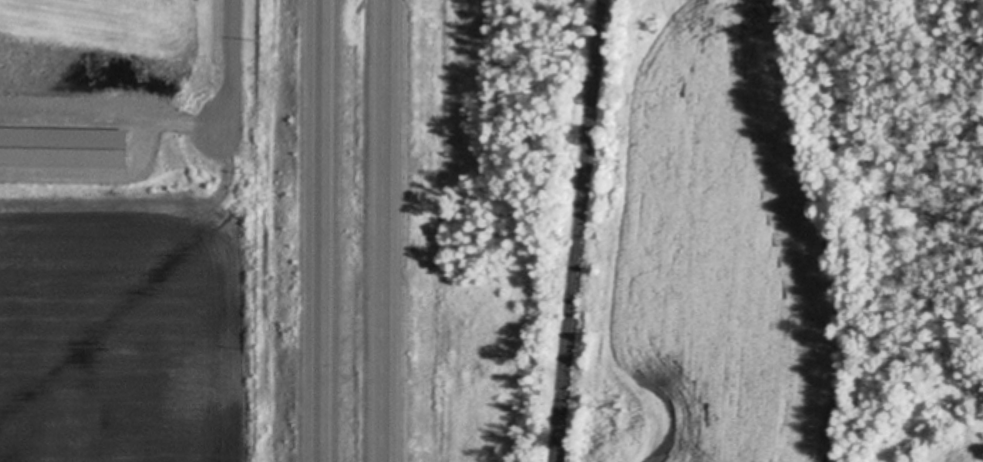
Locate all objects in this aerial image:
power tower: (656, 24)
road: (235, 66)
building: (63, 146)
road: (326, 231)
road: (388, 231)
railway: (580, 231)
power tower: (621, 404)

